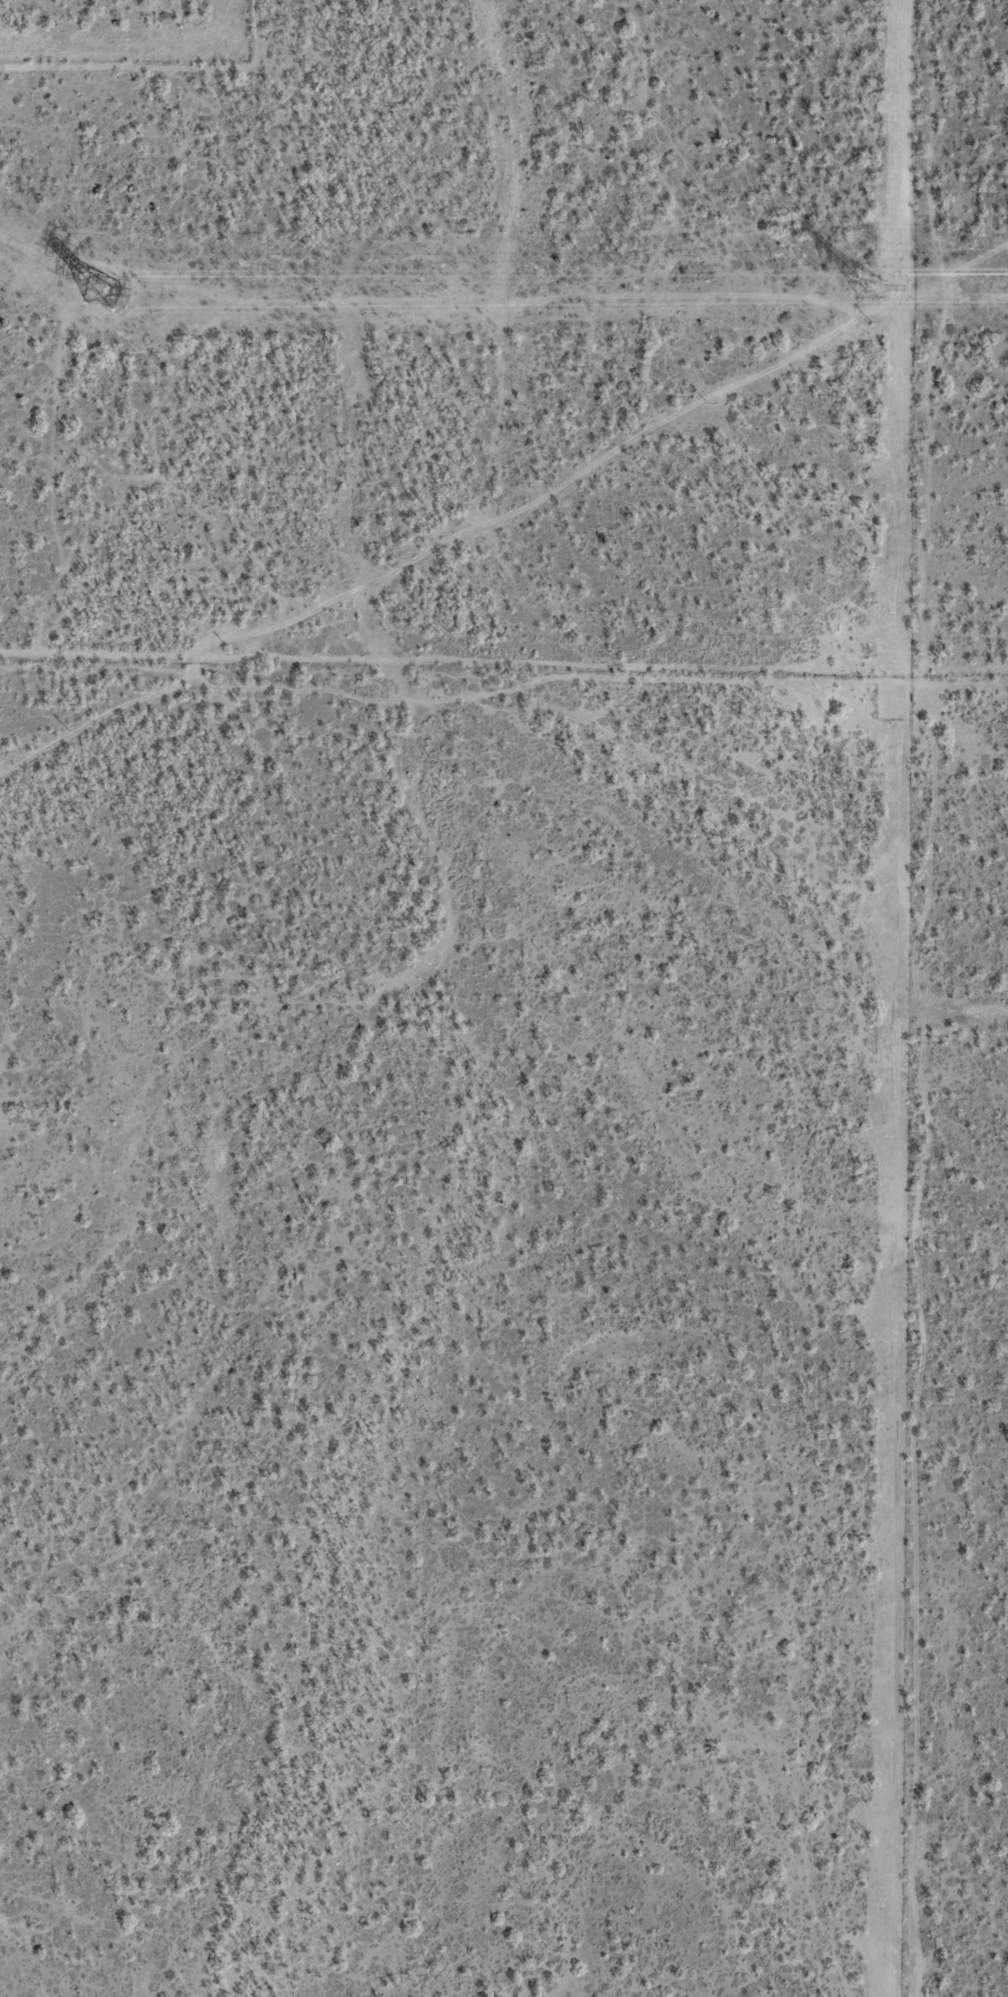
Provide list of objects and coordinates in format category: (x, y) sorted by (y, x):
power tower: (866, 288)
power tower: (102, 292)

